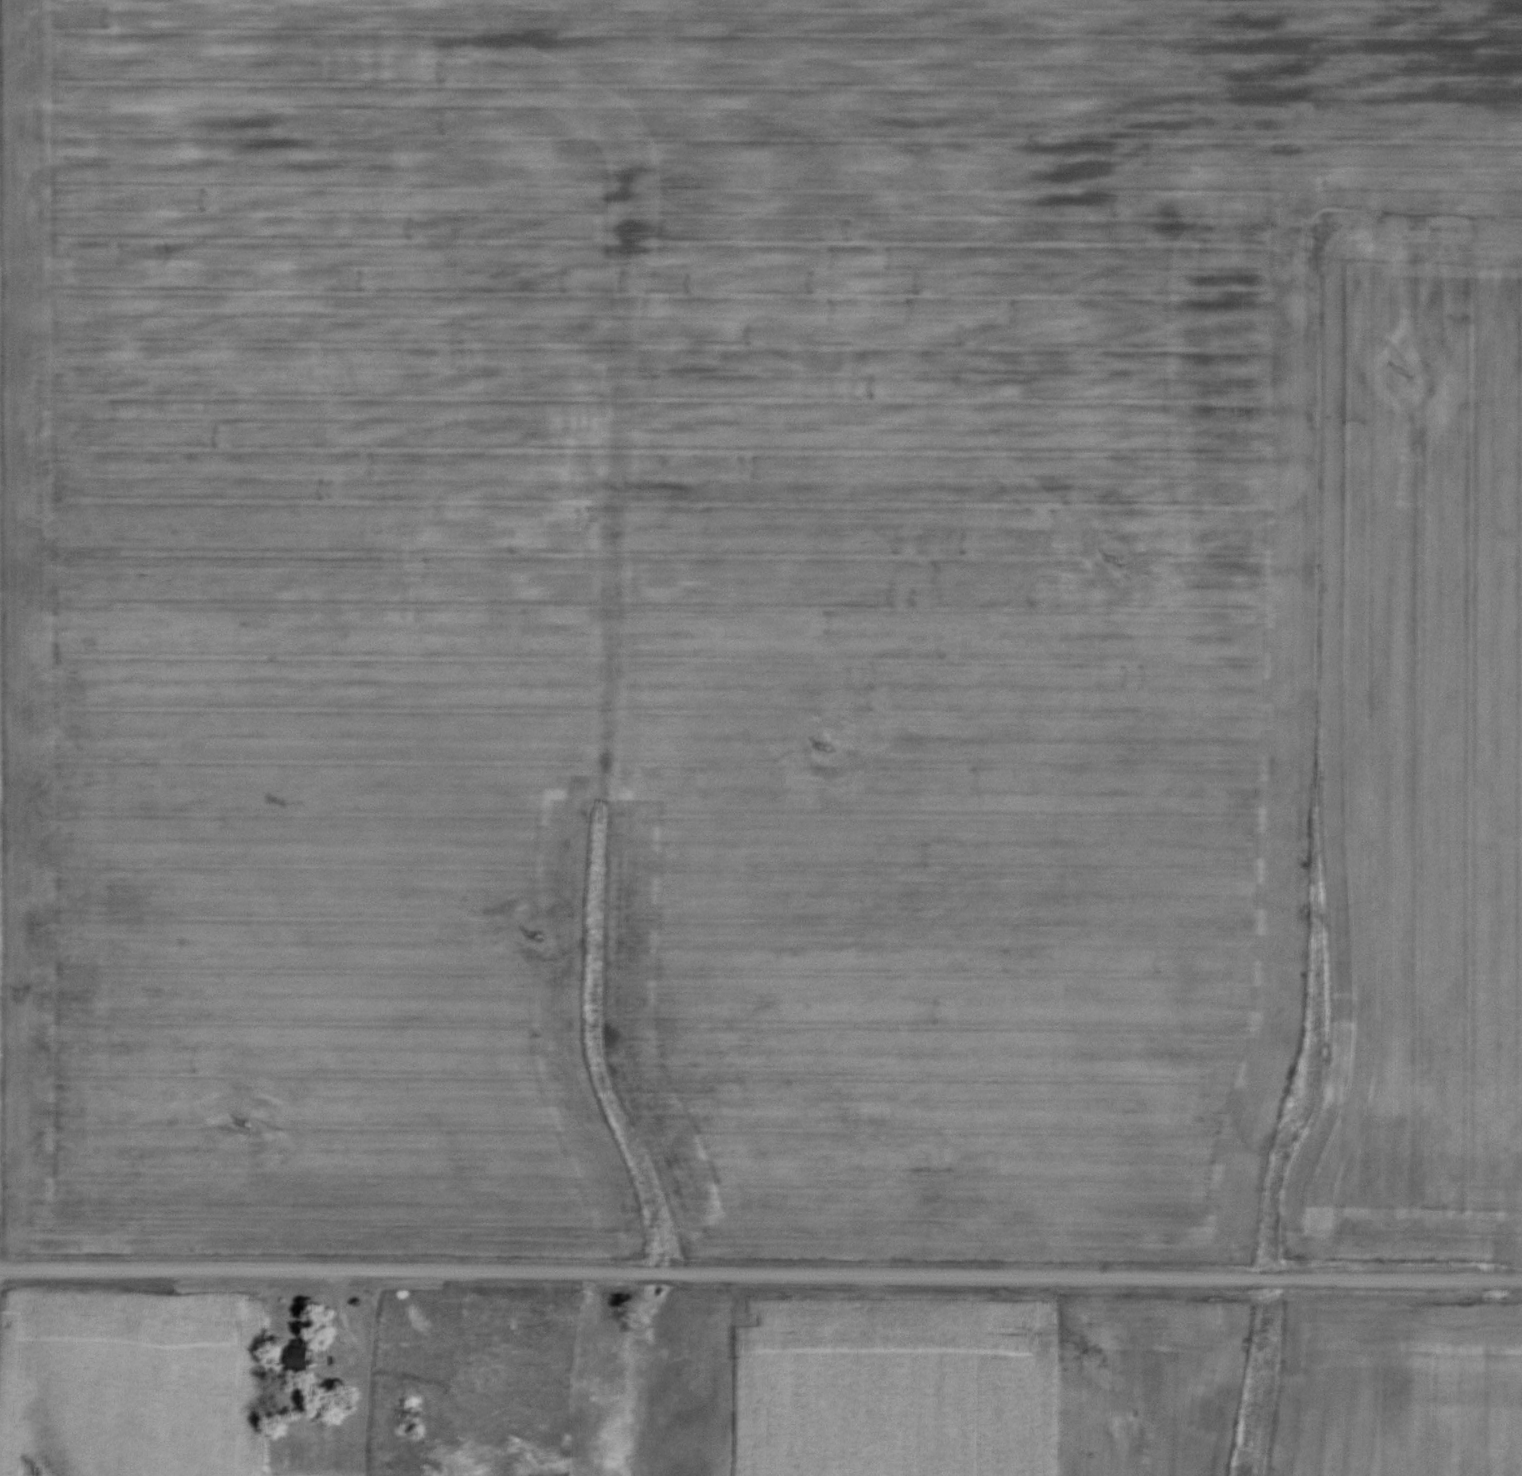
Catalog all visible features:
road: (761, 1274)
building: (296, 1357)

